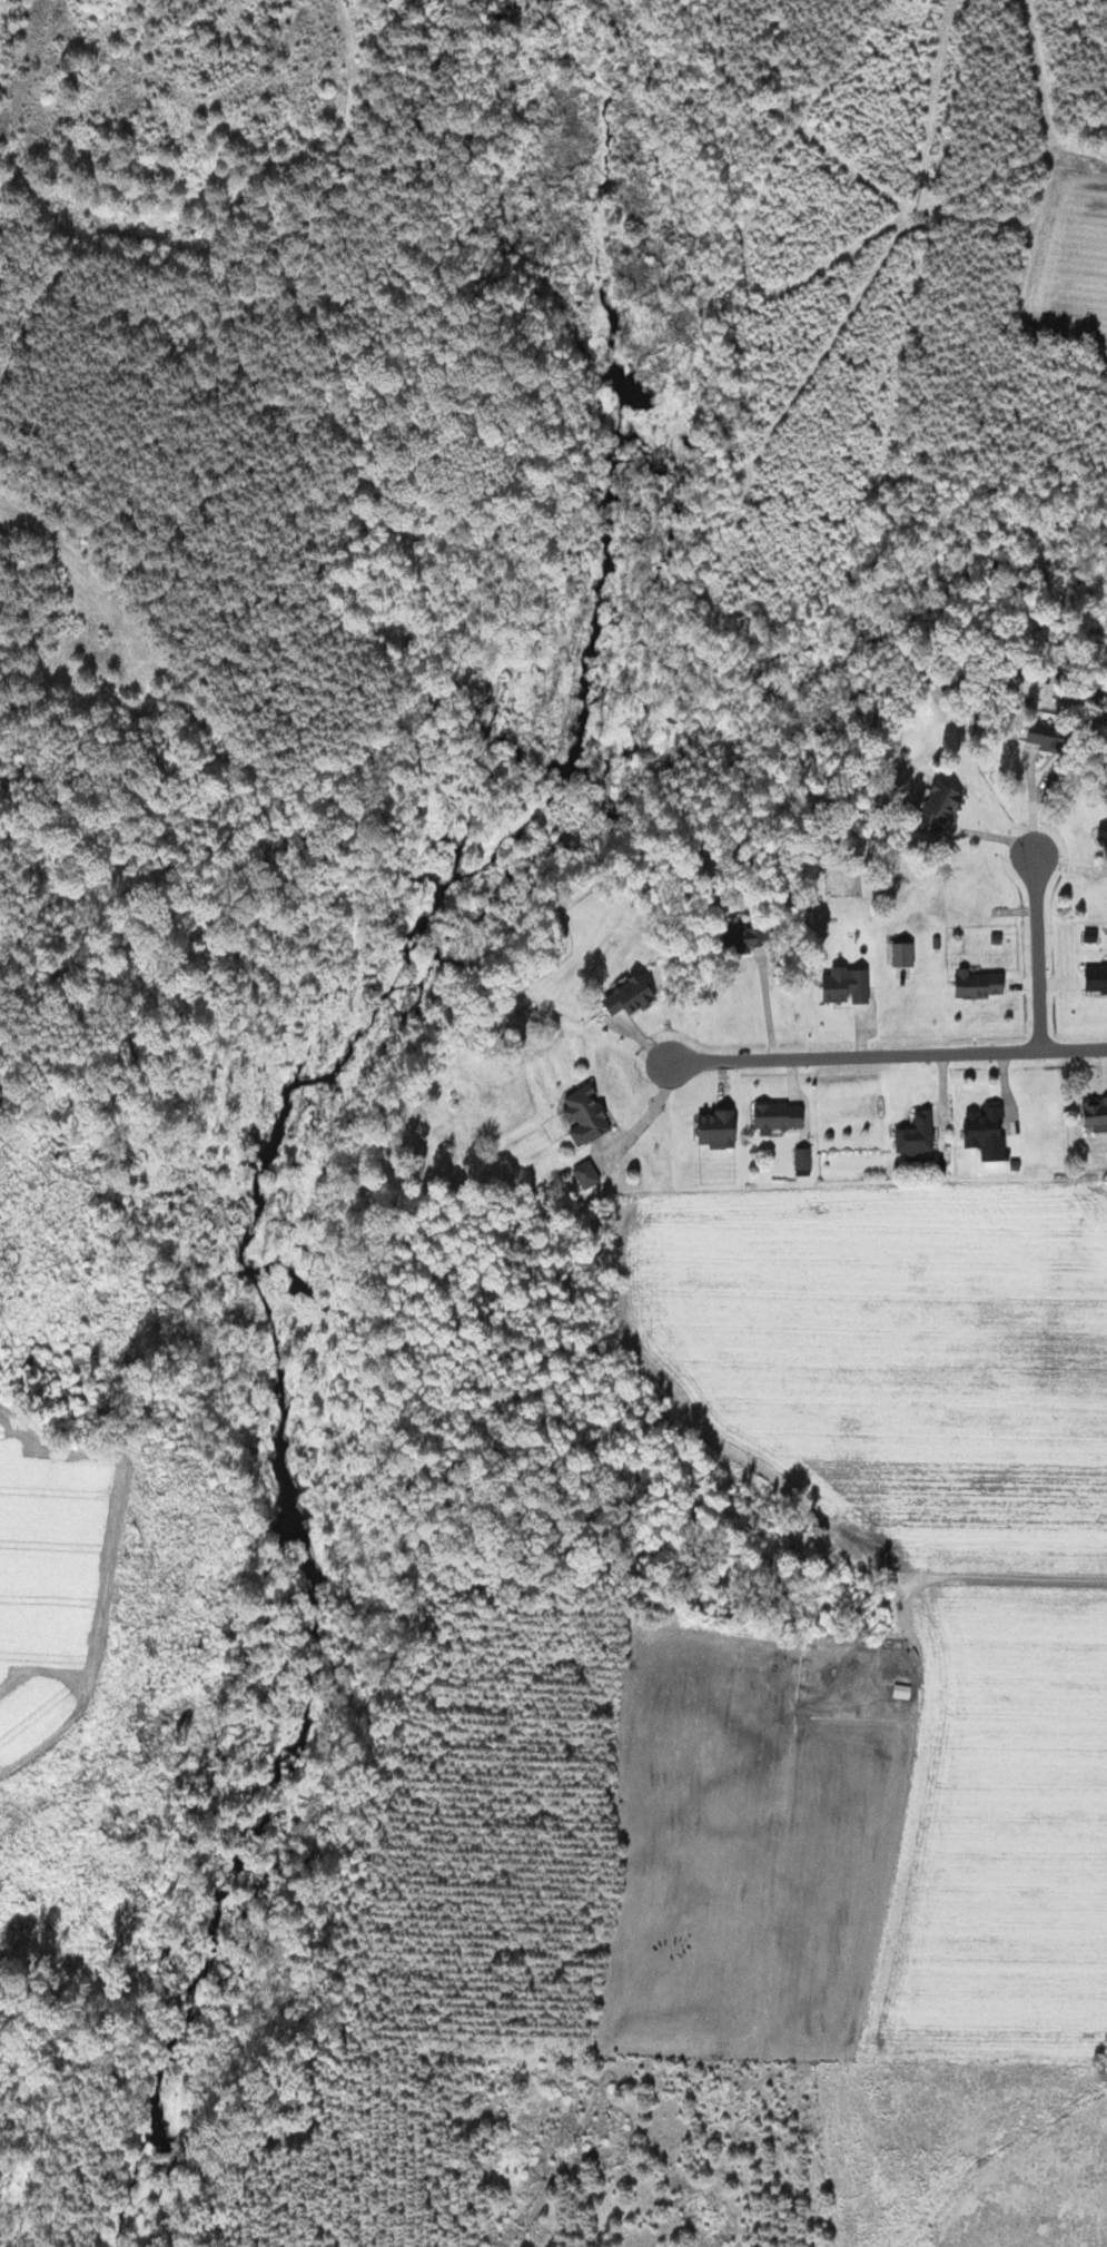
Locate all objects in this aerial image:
building: (1050, 736)
building: (1104, 835)
building: (751, 937)
road: (1041, 949)
building: (906, 953)
building: (1097, 978)
building: (981, 983)
building: (848, 984)
building: (633, 994)
road: (889, 1055)
building: (1096, 1113)
building: (589, 1114)
building: (781, 1116)
building: (987, 1125)
building: (919, 1134)
building: (590, 1174)
building: (574, 1181)

